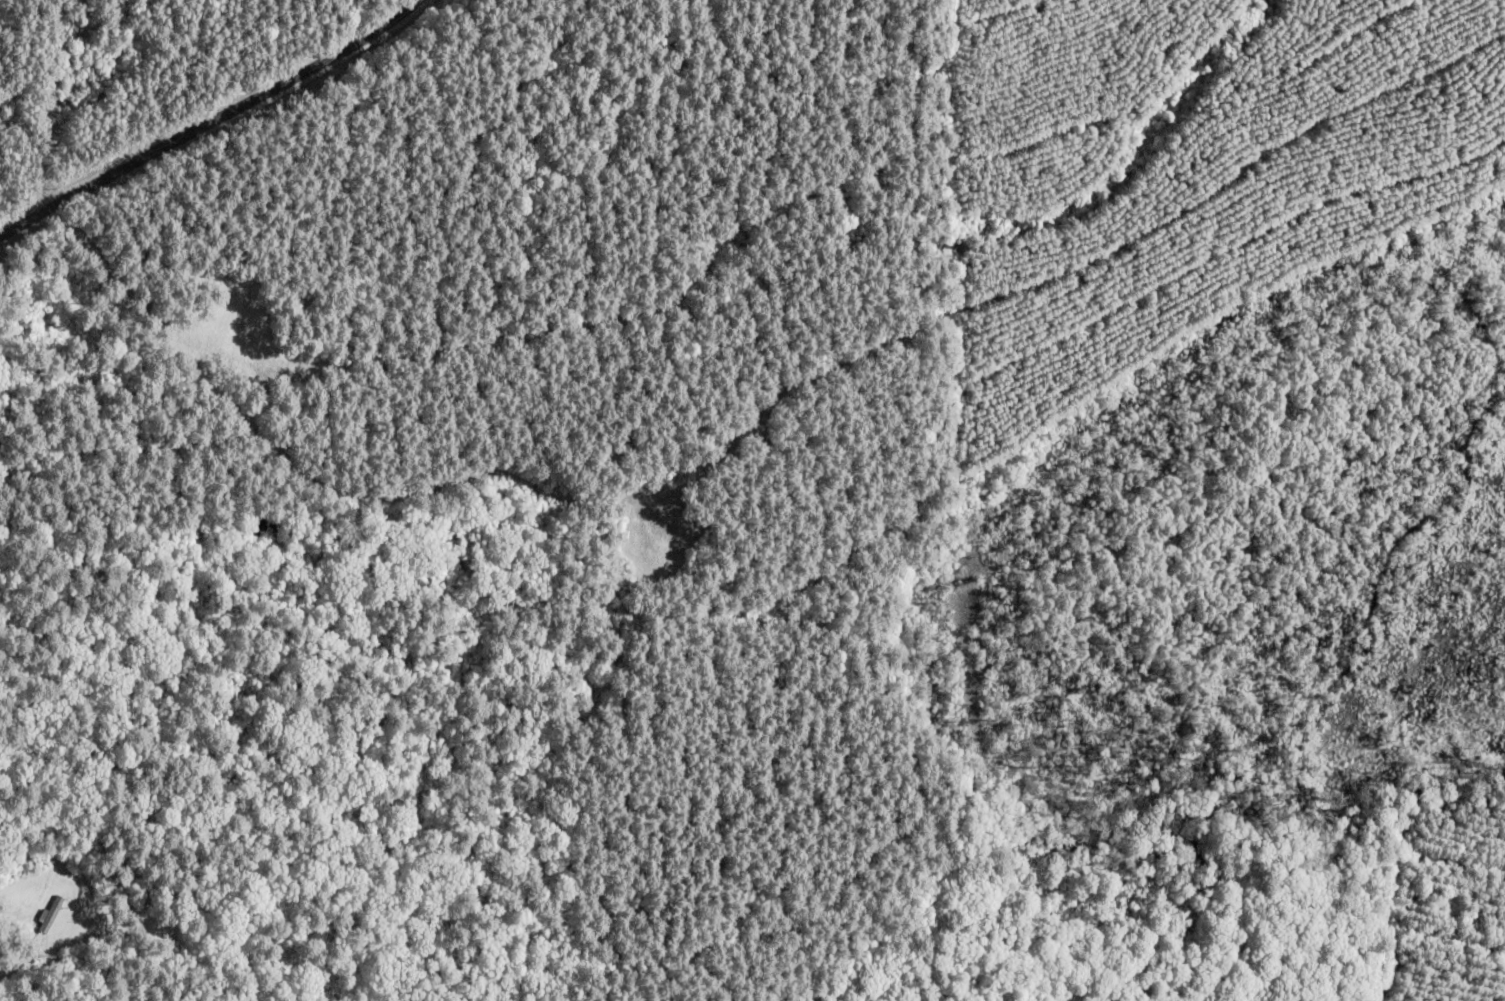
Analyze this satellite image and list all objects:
road: (209, 122)

